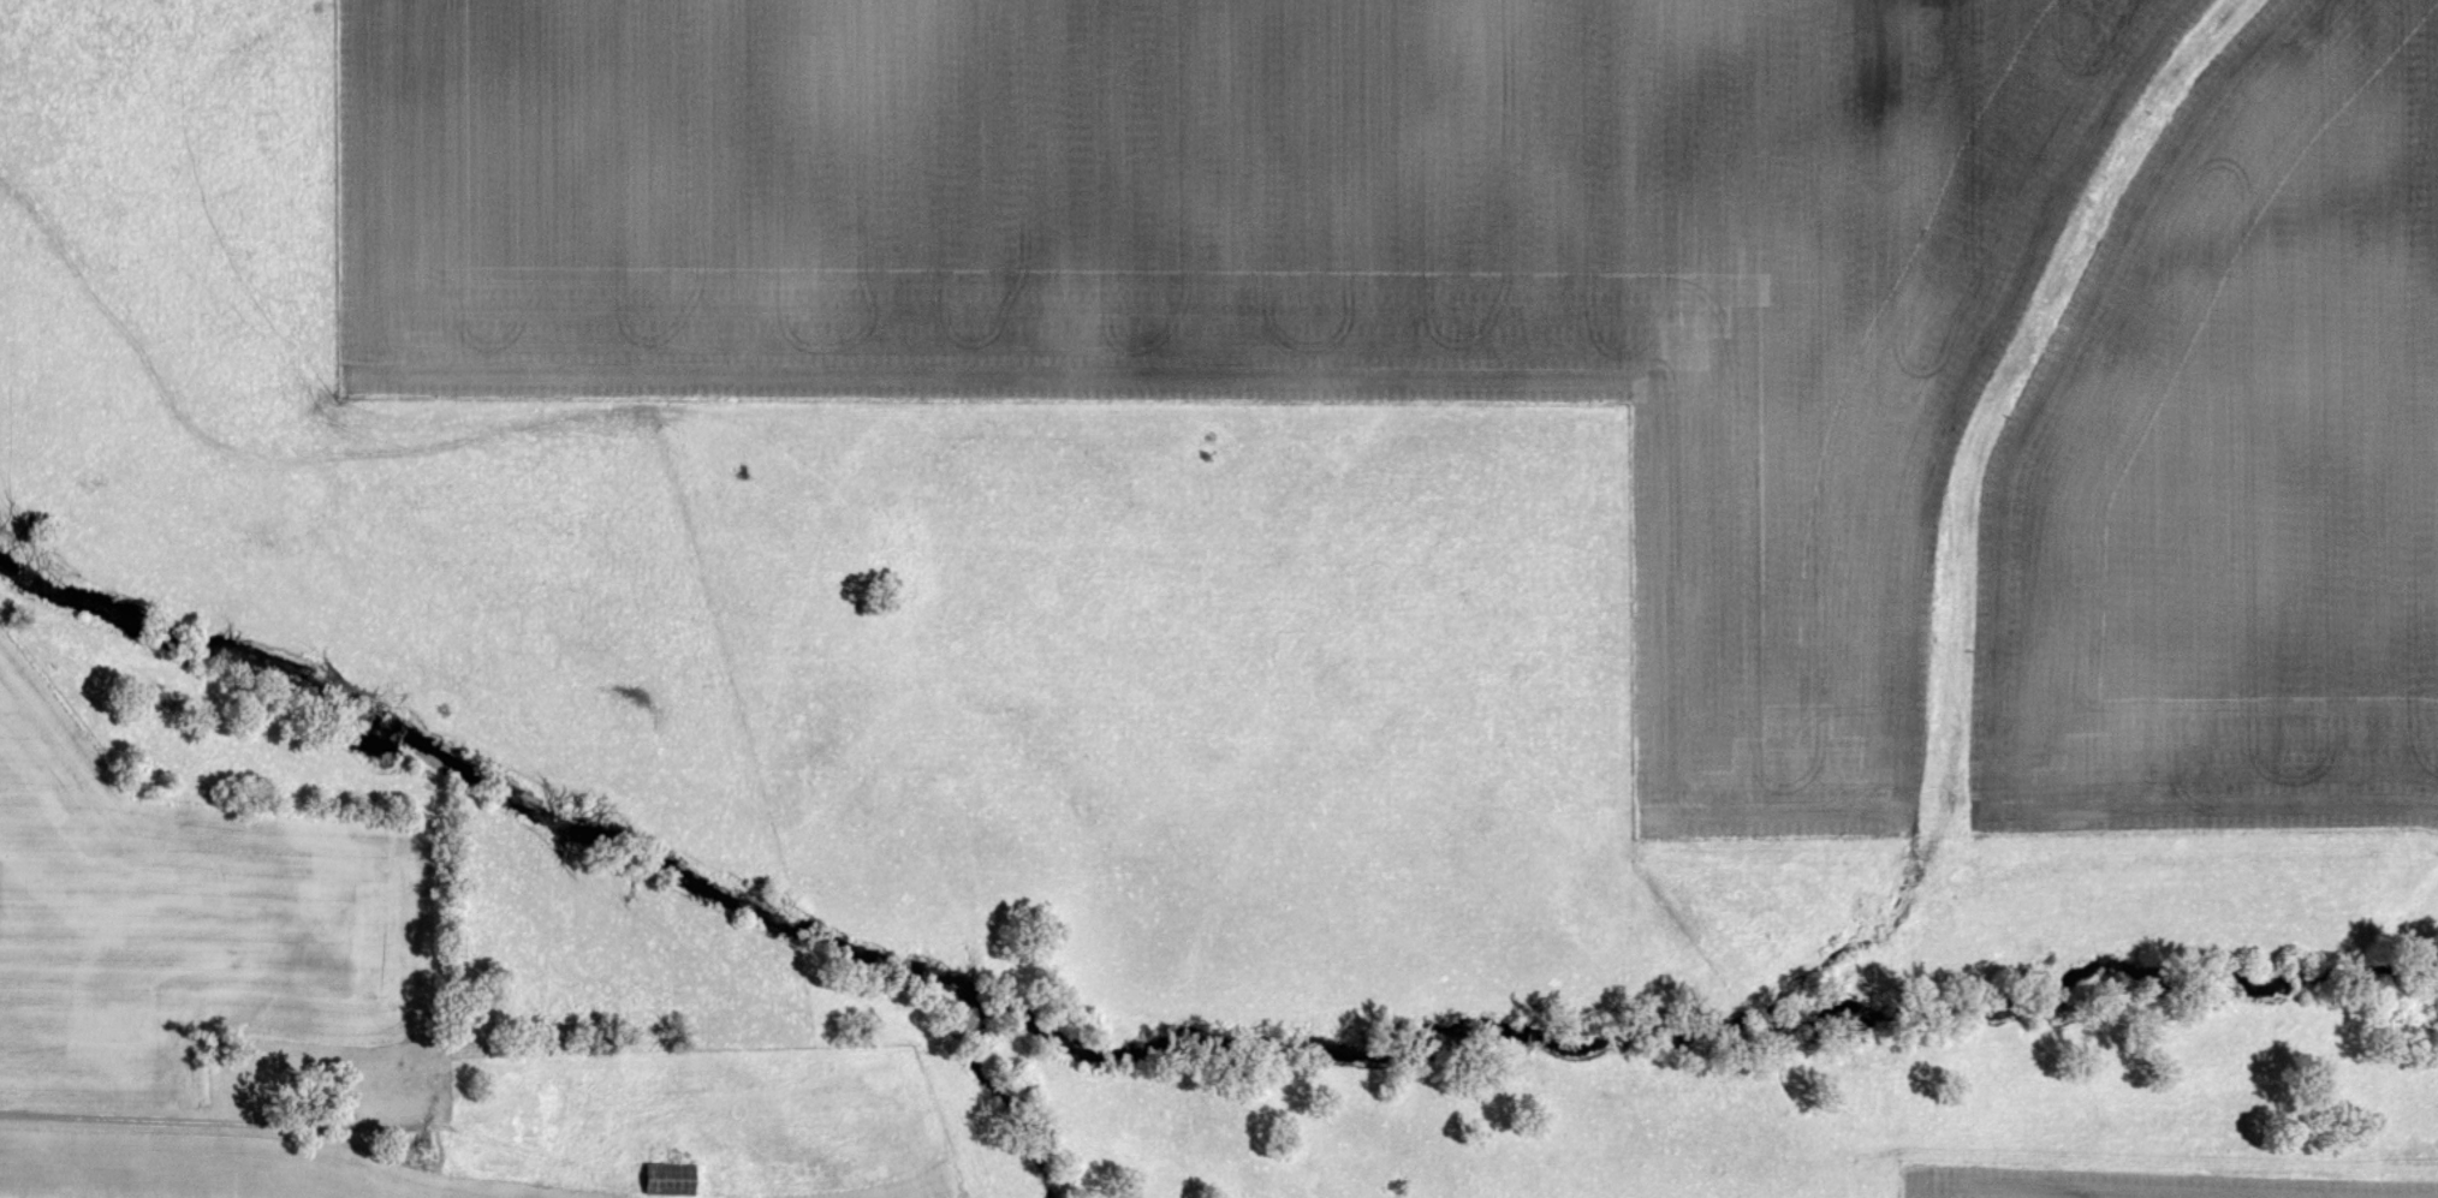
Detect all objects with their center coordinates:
road: (209, 1116)
building: (692, 1172)

